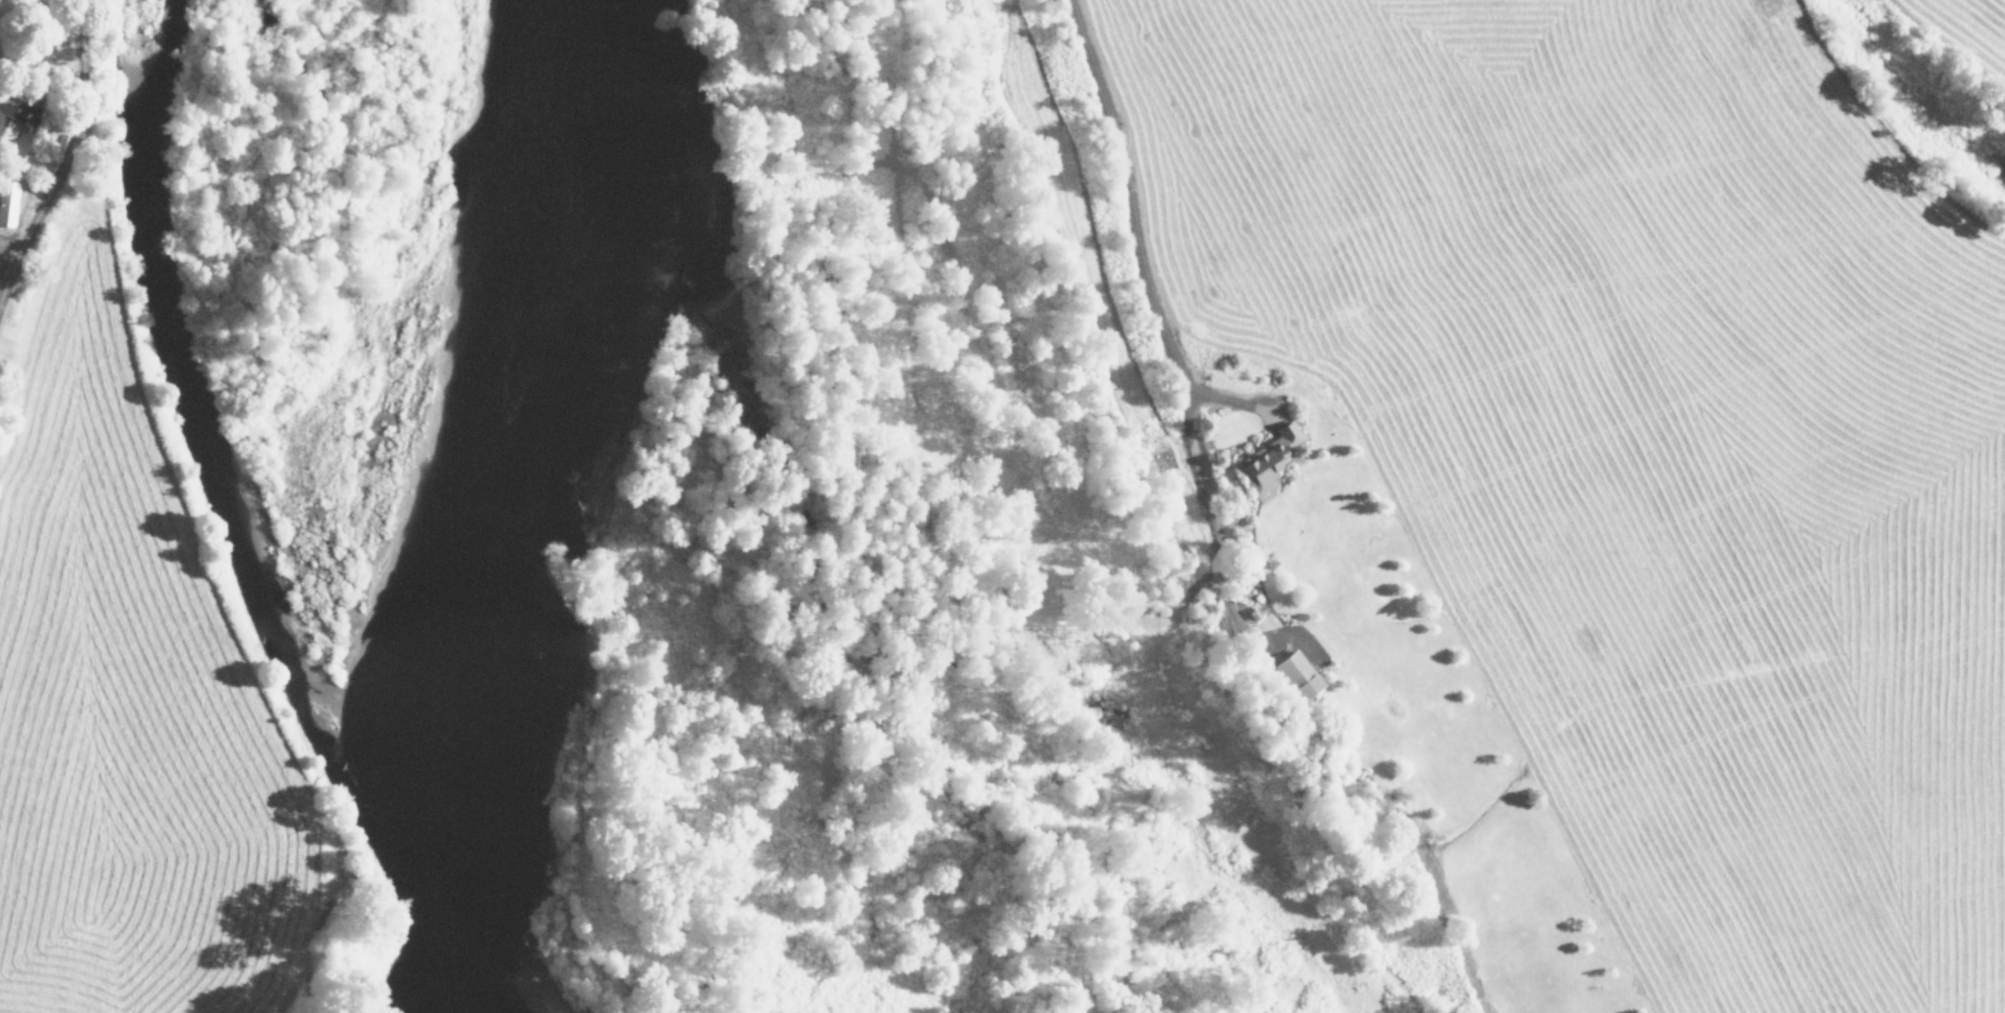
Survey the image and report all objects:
building: (21, 112)
road: (65, 155)
building: (8, 204)
building: (1269, 459)
crop: (1606, 466)
river: (505, 505)
crop: (115, 604)
building: (1303, 673)

